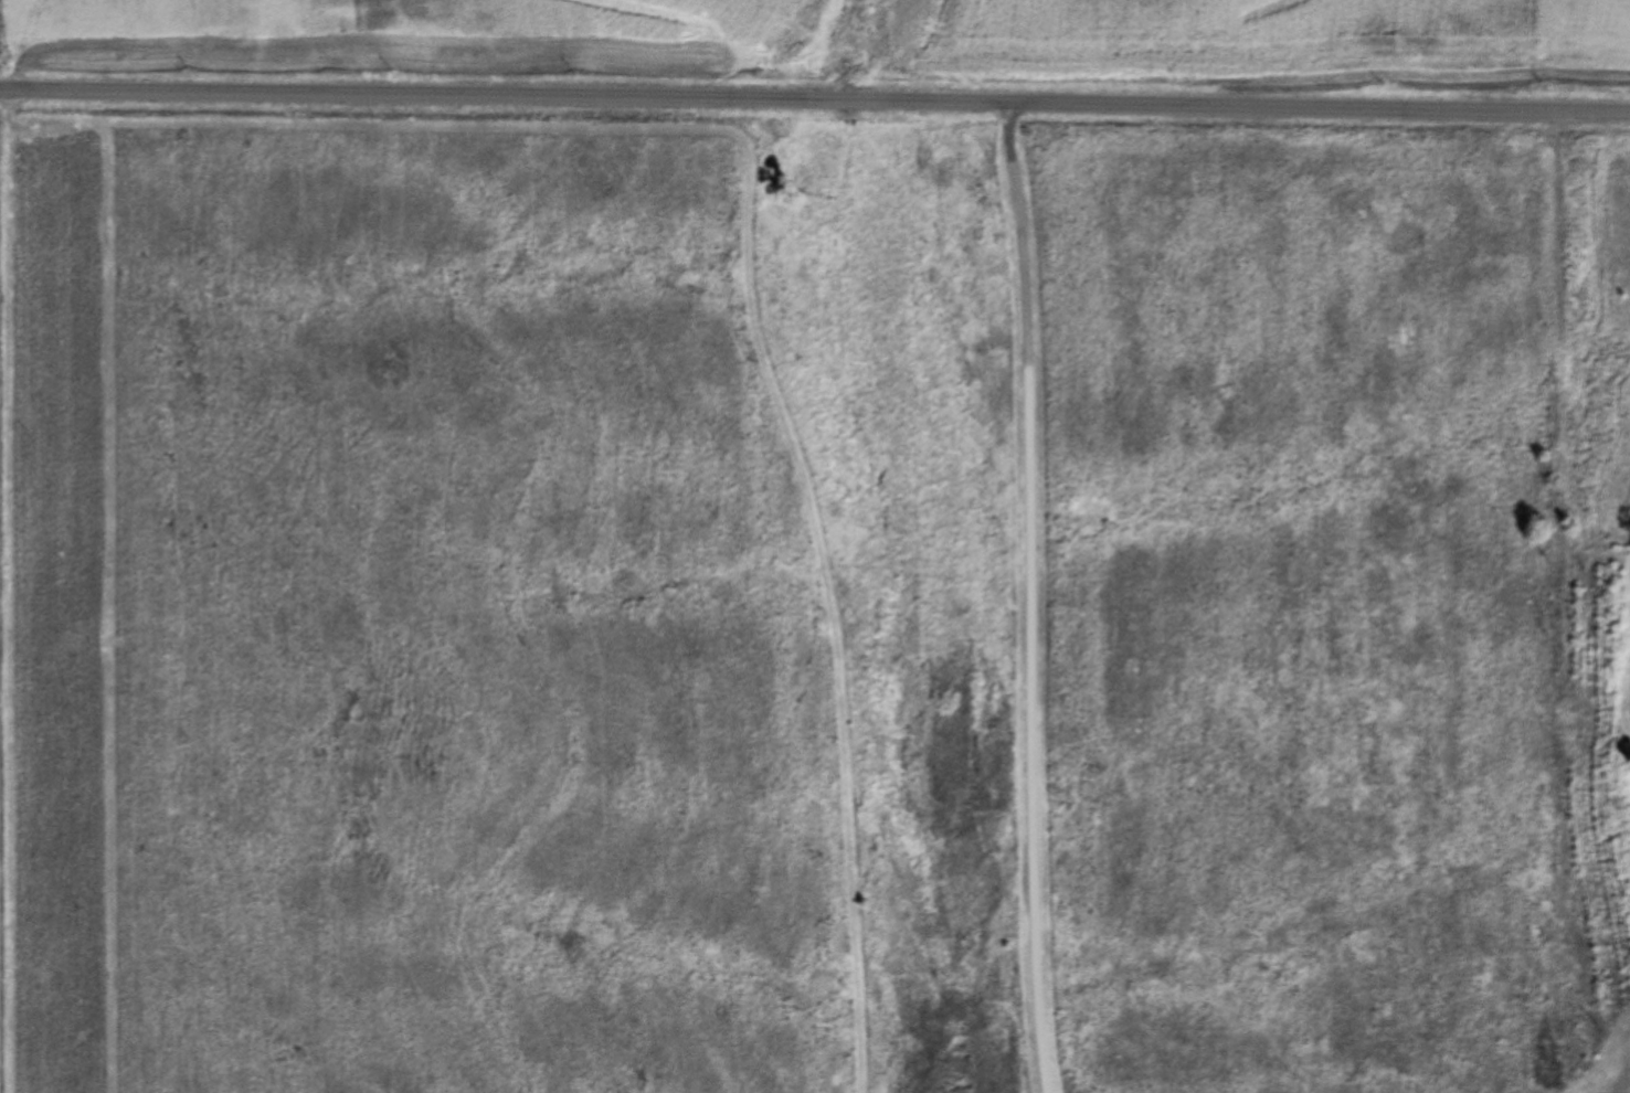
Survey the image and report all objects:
road: (814, 102)
road: (10, 592)
road: (822, 593)
road: (1035, 598)
road: (1566, 602)

